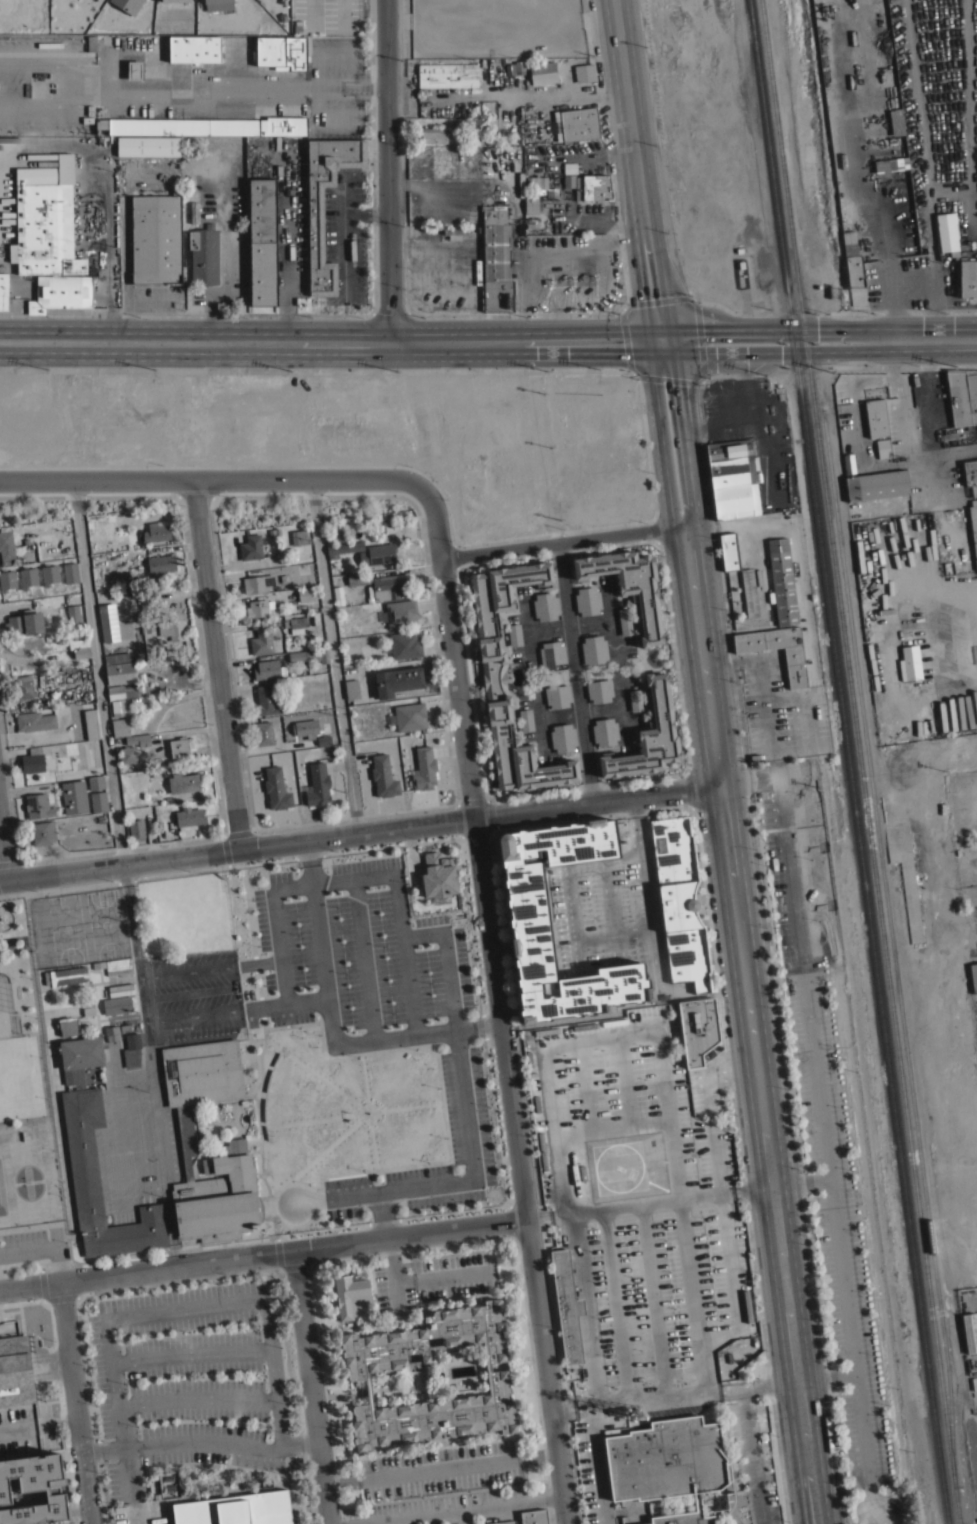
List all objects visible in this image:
building: (177, 0)
building: (213, 1)
building: (127, 5)
building: (91, 43)
building: (193, 49)
building: (281, 52)
building: (514, 67)
building: (135, 69)
building: (542, 72)
building: (584, 72)
building: (446, 75)
building: (896, 121)
building: (490, 123)
building: (579, 124)
building: (206, 126)
building: (433, 135)
building: (478, 138)
building: (147, 145)
road: (44, 149)
railway: (794, 150)
railway: (784, 151)
building: (891, 164)
building: (569, 168)
road: (639, 169)
road: (387, 170)
building: (37, 175)
building: (568, 181)
building: (536, 182)
building: (187, 183)
building: (593, 187)
building: (548, 193)
building: (532, 204)
building: (194, 211)
road: (365, 213)
building: (494, 213)
building: (315, 224)
building: (530, 225)
building: (45, 230)
building: (946, 233)
road: (342, 235)
building: (156, 239)
building: (263, 241)
road: (287, 245)
building: (12, 252)
building: (204, 255)
building: (853, 261)
building: (497, 268)
building: (968, 278)
building: (3, 290)
building: (61, 292)
road: (186, 313)
road: (778, 329)
railway: (819, 338)
traffic signals: (663, 339)
road: (934, 339)
road: (331, 340)
railway: (809, 340)
road: (892, 349)
road: (778, 351)
road: (389, 366)
road: (641, 372)
building: (962, 395)
building: (876, 416)
building: (880, 447)
building: (848, 462)
building: (731, 463)
building: (970, 474)
road: (208, 480)
building: (876, 484)
building: (735, 501)
road: (657, 526)
building: (974, 527)
building: (156, 531)
building: (299, 537)
road: (563, 539)
building: (6, 547)
building: (250, 547)
building: (343, 547)
building: (728, 551)
building: (377, 554)
road: (691, 560)
building: (161, 564)
building: (70, 573)
building: (49, 574)
building: (27, 576)
building: (358, 578)
building: (765, 578)
building: (7, 579)
building: (782, 581)
building: (134, 582)
building: (257, 583)
building: (629, 585)
building: (387, 586)
building: (749, 592)
building: (305, 594)
building: (337, 595)
building: (587, 601)
building: (545, 606)
building: (259, 608)
building: (399, 613)
building: (74, 617)
building: (625, 621)
building: (25, 622)
building: (108, 622)
building: (295, 623)
building: (172, 629)
road: (886, 633)
building: (514, 634)
building: (264, 642)
road: (974, 644)
building: (403, 645)
building: (79, 647)
building: (594, 649)
road: (674, 653)
road: (335, 654)
building: (551, 654)
building: (309, 655)
road: (218, 663)
building: (909, 663)
building: (119, 668)
building: (268, 669)
road: (576, 669)
building: (795, 669)
road: (98, 671)
building: (398, 680)
building: (494, 680)
building: (23, 686)
building: (352, 688)
road: (945, 689)
building: (599, 690)
building: (121, 691)
building: (557, 696)
building: (267, 699)
building: (636, 700)
building: (119, 707)
building: (960, 715)
building: (408, 716)
building: (34, 720)
building: (526, 720)
building: (91, 723)
building: (120, 727)
building: (305, 728)
building: (604, 731)
building: (263, 732)
building: (648, 736)
building: (563, 737)
building: (138, 739)
building: (180, 746)
building: (127, 754)
building: (32, 760)
railway: (848, 761)
road: (932, 761)
railway: (859, 762)
building: (423, 769)
building: (383, 776)
road: (748, 777)
building: (96, 782)
building: (183, 782)
building: (317, 785)
building: (276, 788)
building: (74, 796)
building: (98, 801)
building: (38, 806)
building: (189, 816)
building: (136, 829)
road: (359, 829)
building: (43, 832)
road: (4, 847)
building: (438, 876)
road: (357, 878)
road: (609, 897)
building: (680, 901)
building: (529, 923)
park: (78, 926)
road: (608, 934)
road: (133, 941)
railway: (894, 949)
road: (770, 950)
railway: (884, 950)
railway: (893, 954)
road: (364, 959)
building: (114, 965)
road: (208, 967)
building: (66, 975)
building: (973, 976)
road: (805, 987)
parking lot: (193, 992)
road: (500, 1001)
building: (117, 1005)
parking lot: (382, 1005)
building: (88, 1007)
road: (236, 1007)
park: (5, 1010)
road: (332, 1025)
building: (585, 1025)
building: (64, 1026)
building: (699, 1029)
building: (546, 1031)
building: (112, 1032)
road: (264, 1043)
building: (132, 1049)
building: (81, 1052)
road: (39, 1061)
road: (313, 1071)
road: (662, 1075)
road: (363, 1076)
road: (621, 1080)
road: (582, 1086)
road: (439, 1087)
parking lot: (633, 1100)
road: (408, 1104)
road: (709, 1108)
park: (25, 1113)
road: (362, 1114)
road: (310, 1118)
road: (467, 1123)
parking lot: (823, 1125)
road: (552, 1127)
road: (372, 1142)
building: (236, 1146)
road: (768, 1152)
road: (315, 1155)
road: (969, 1160)
building: (84, 1162)
road: (740, 1164)
airport: (625, 1165)
helipad: (617, 1167)
park: (26, 1170)
road: (801, 1180)
road: (754, 1187)
park: (30, 1192)
park: (2, 1194)
road: (631, 1205)
road: (382, 1215)
road: (59, 1220)
parking lot: (23, 1241)
road: (46, 1243)
road: (277, 1251)
road: (263, 1254)
road: (730, 1261)
road: (389, 1278)
road: (440, 1281)
parking lot: (663, 1290)
building: (350, 1294)
road: (693, 1295)
road: (651, 1301)
building: (566, 1306)
road: (614, 1306)
building: (747, 1306)
road: (587, 1309)
road: (157, 1312)
building: (970, 1331)
road: (191, 1351)
building: (15, 1371)
building: (358, 1374)
parking lot: (188, 1379)
road: (759, 1385)
road: (309, 1388)
road: (198, 1397)
road: (858, 1400)
road: (637, 1401)
road: (75, 1402)
road: (199, 1441)
road: (436, 1444)
road: (751, 1453)
building: (666, 1459)
parking lot: (441, 1467)
road: (440, 1469)
building: (33, 1489)
road: (869, 1490)
road: (879, 1493)
parking lot: (447, 1505)
building: (236, 1509)
road: (453, 1509)
parking lot: (140, 1513)
building: (684, 1515)
road: (463, 1516)
building: (534, 1516)
building: (503, 1522)

